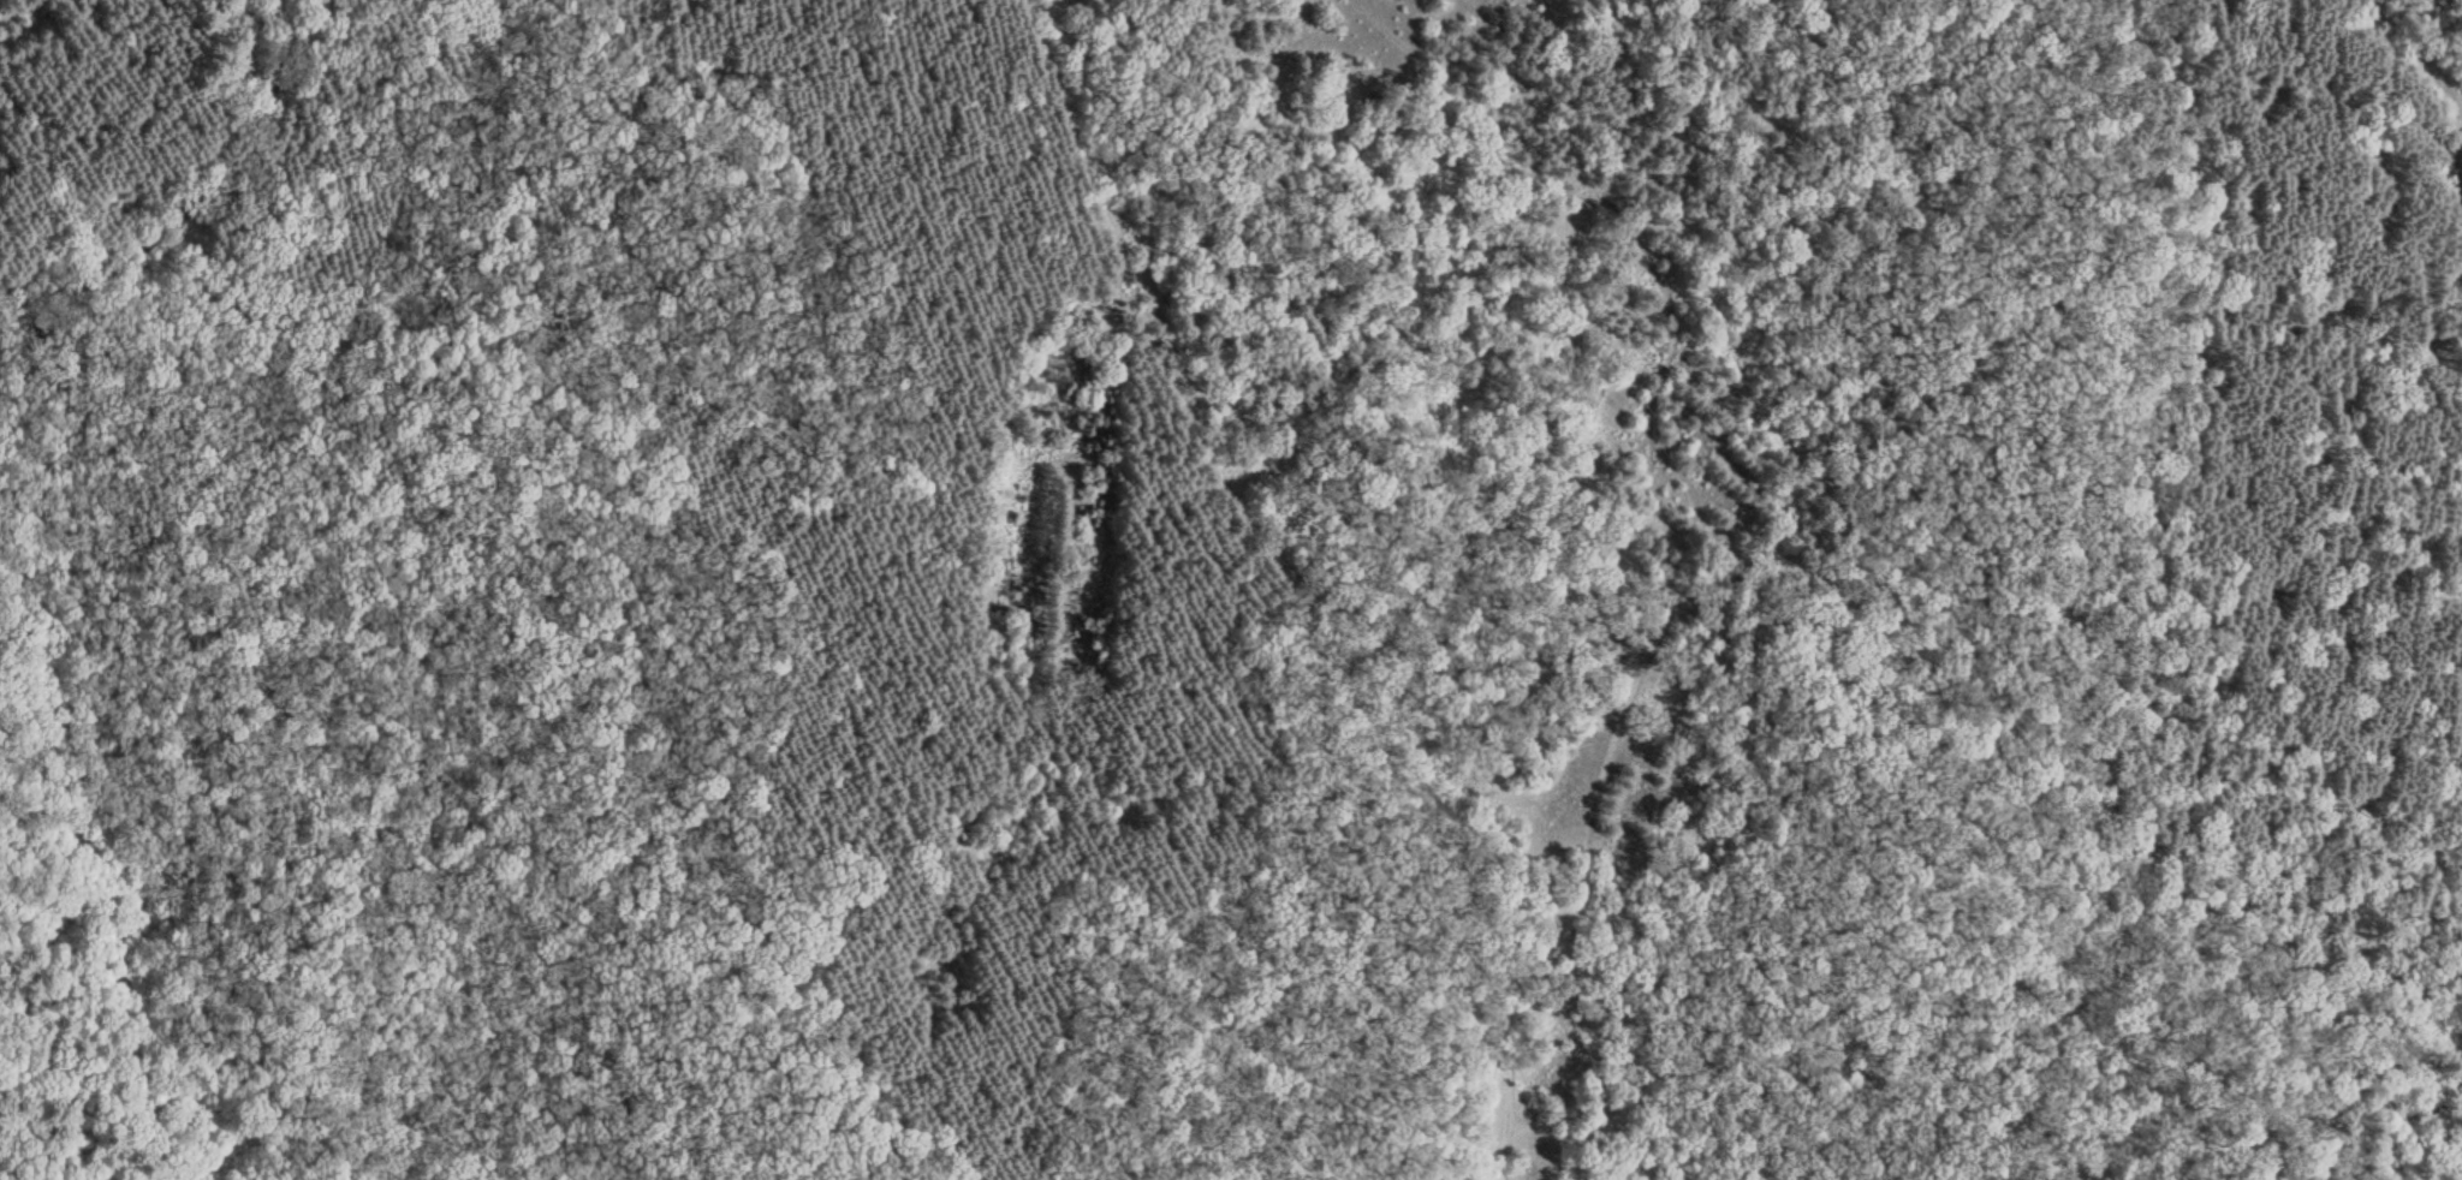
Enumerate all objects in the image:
road: (183, 190)
road: (5, 515)

